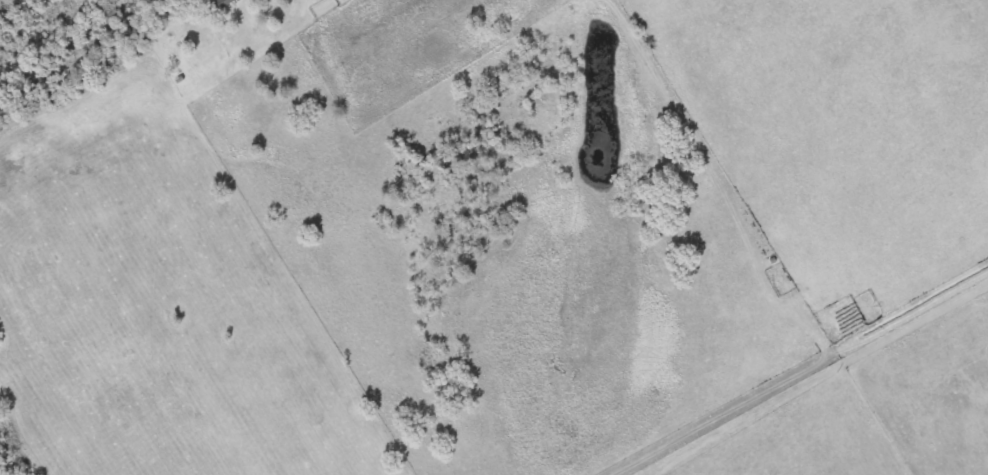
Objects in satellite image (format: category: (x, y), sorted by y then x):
building: (220, 5)
road: (357, 24)

